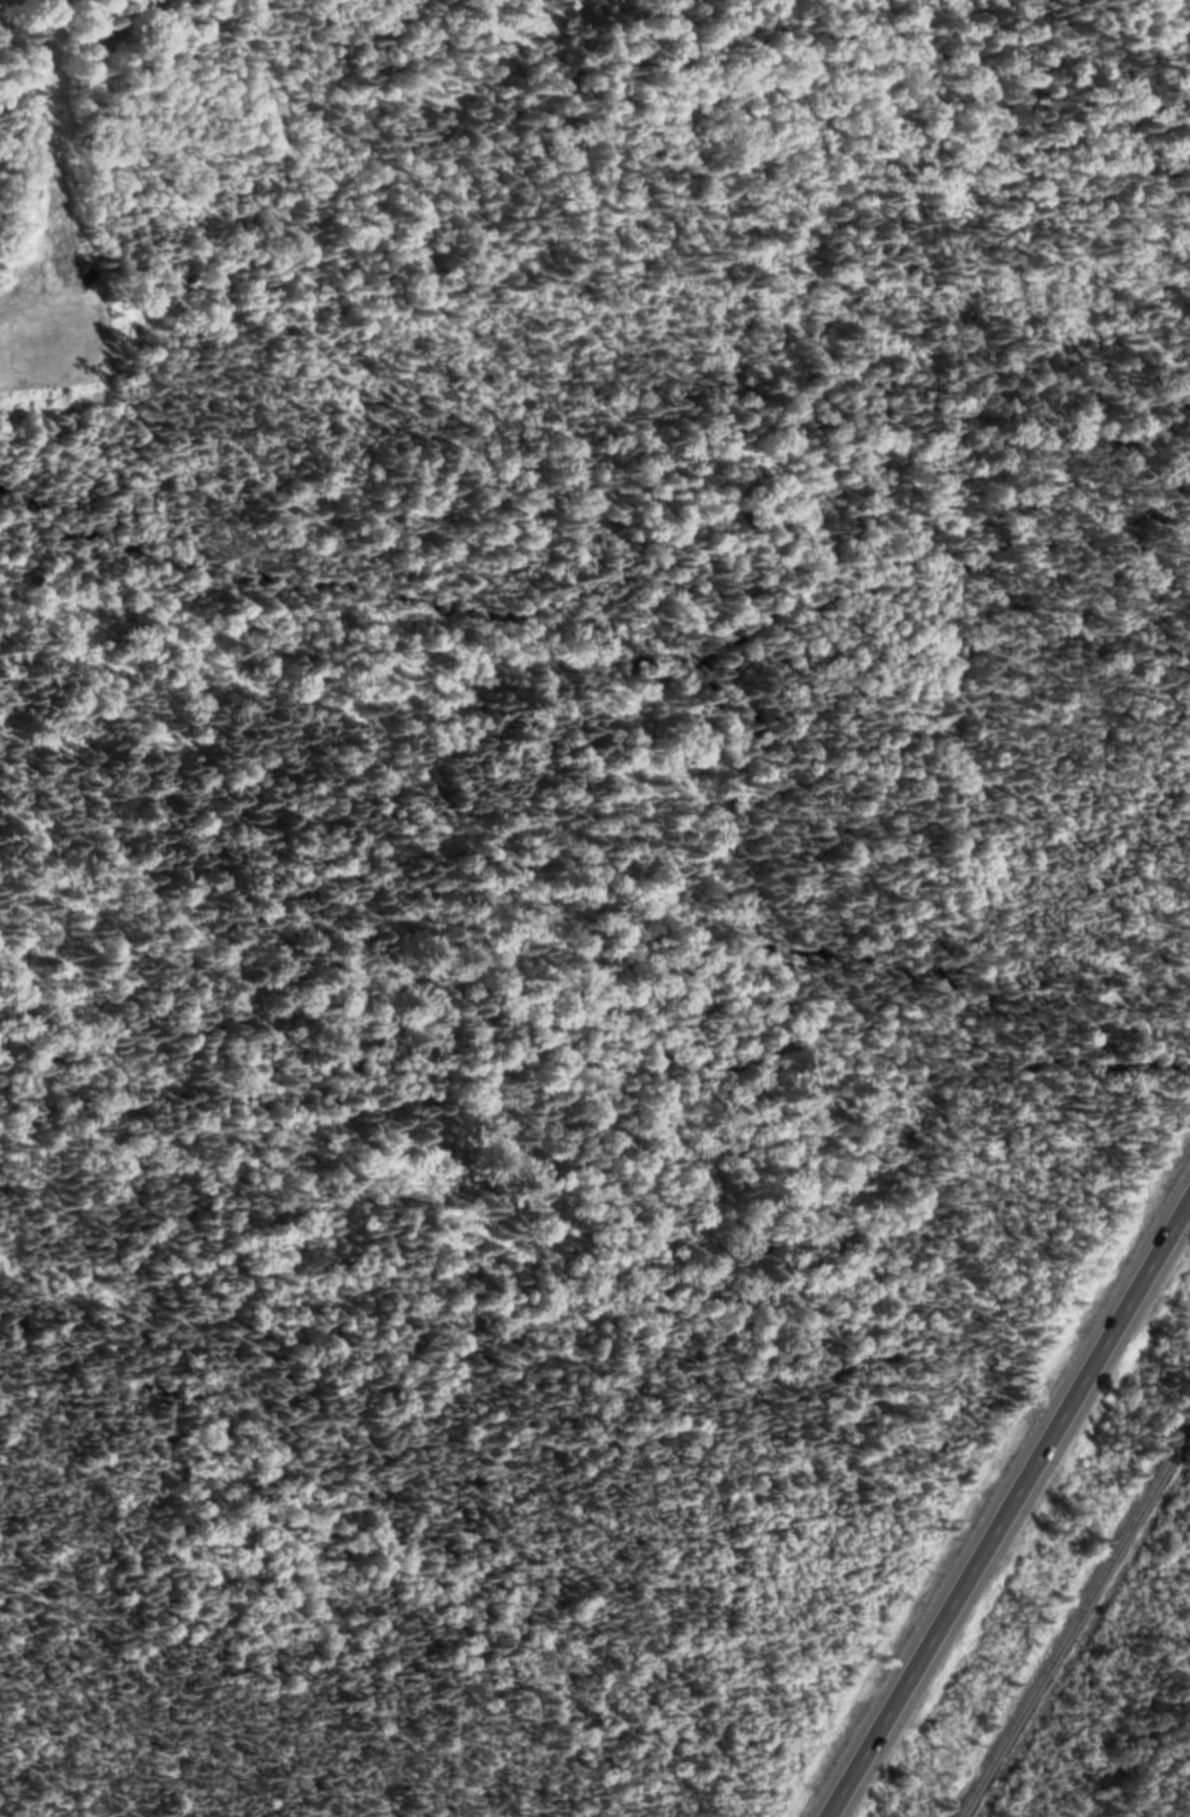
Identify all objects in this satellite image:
road: (1008, 1508)
railway: (1074, 1622)

